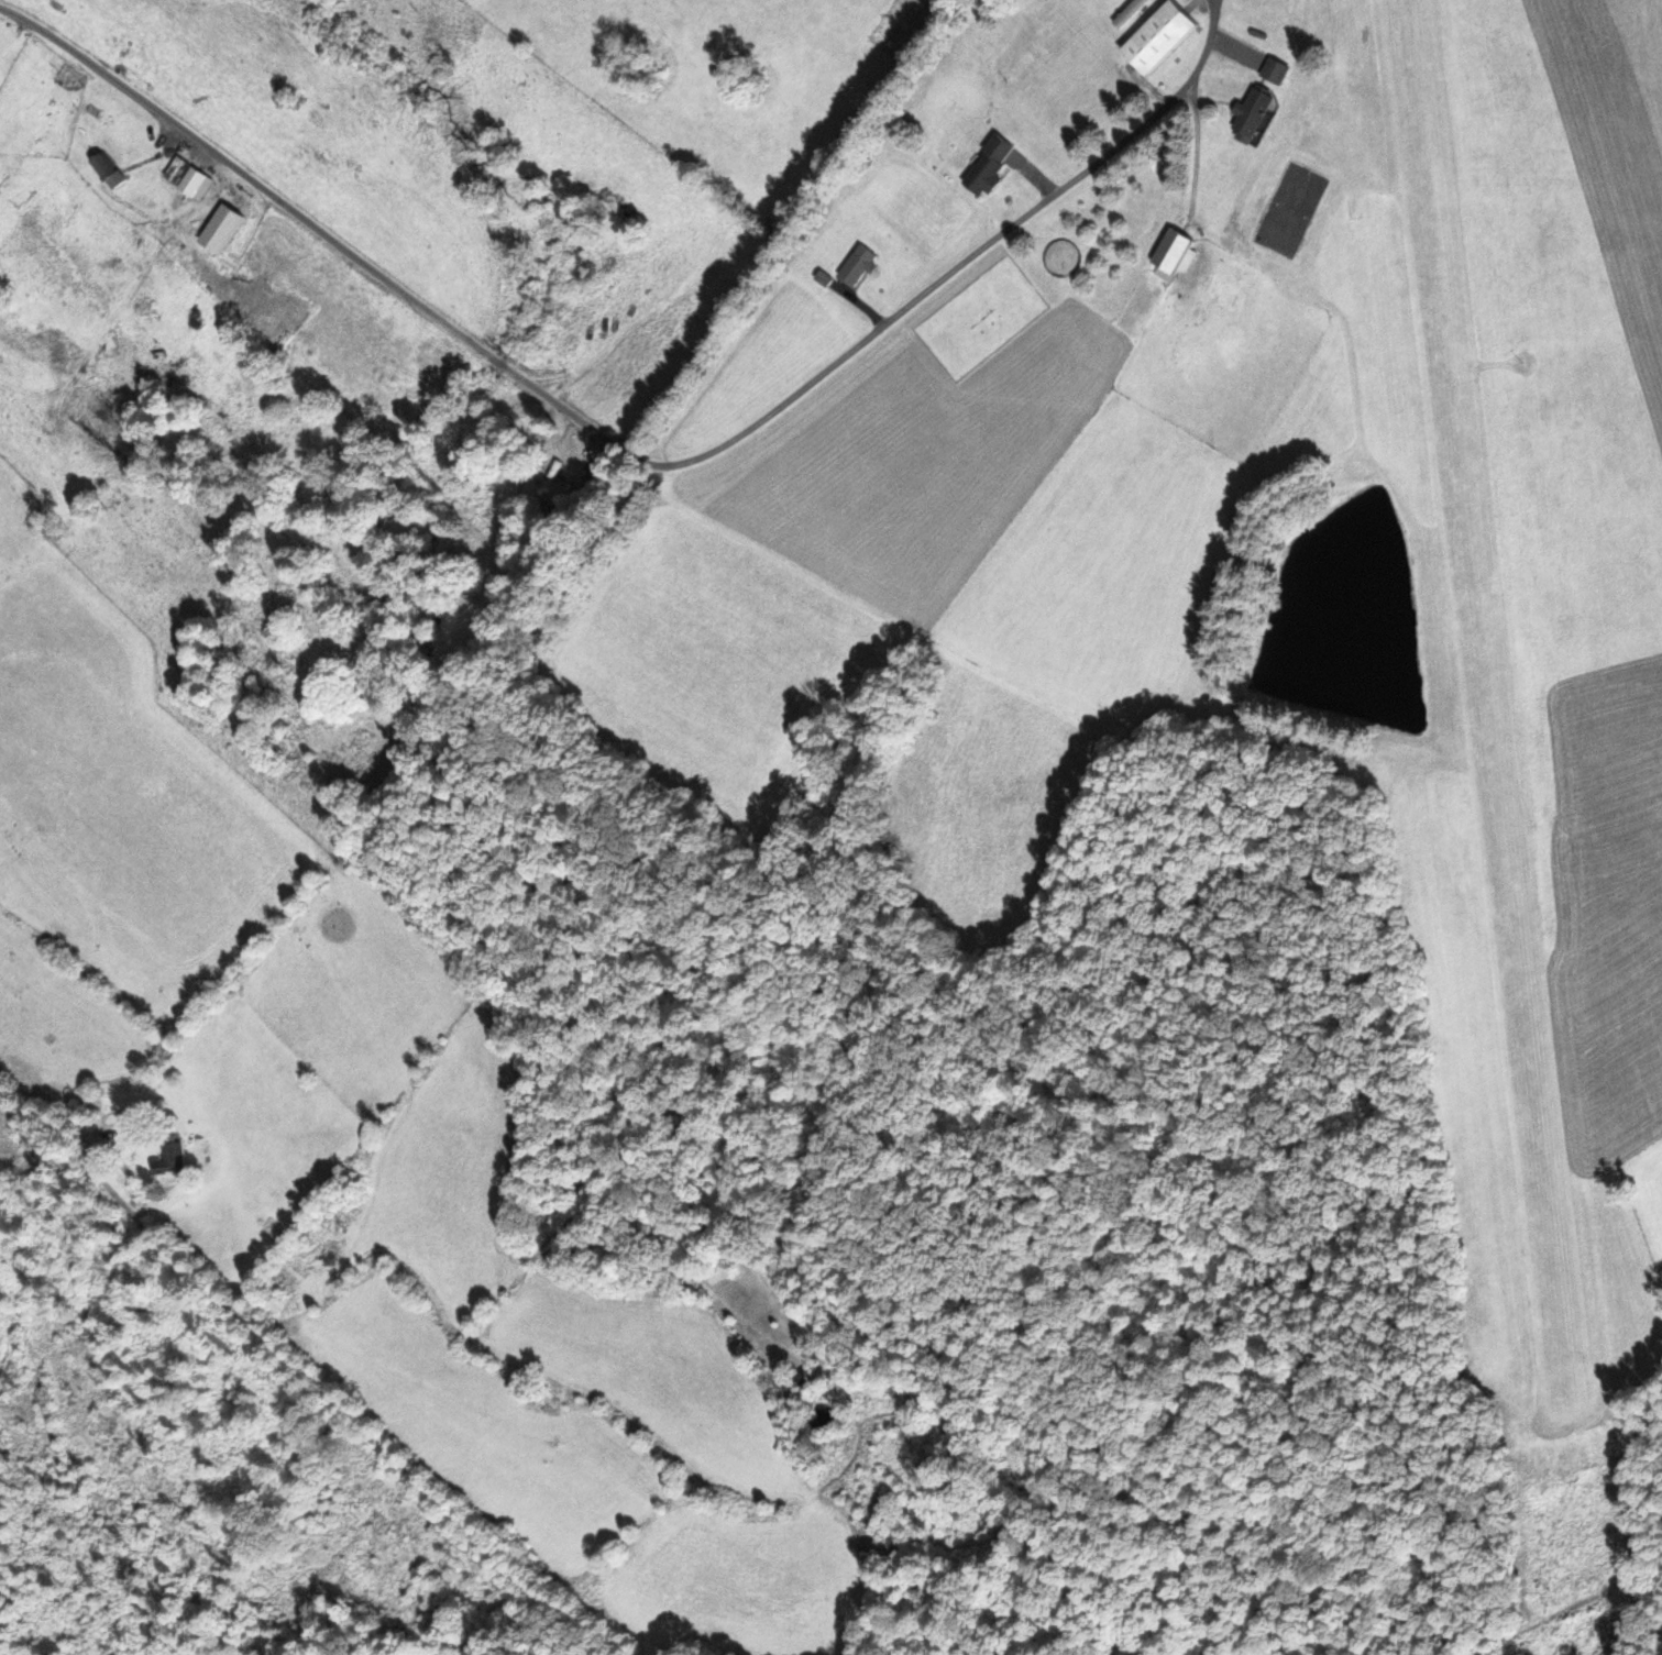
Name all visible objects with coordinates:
building: (1158, 38)
building: (1273, 71)
building: (1251, 113)
building: (103, 170)
building: (183, 178)
building: (1171, 255)
building: (856, 266)
road: (629, 456)
airport runway: (1485, 702)
building: (169, 1160)
road: (110, 1200)
building: (795, 1383)

